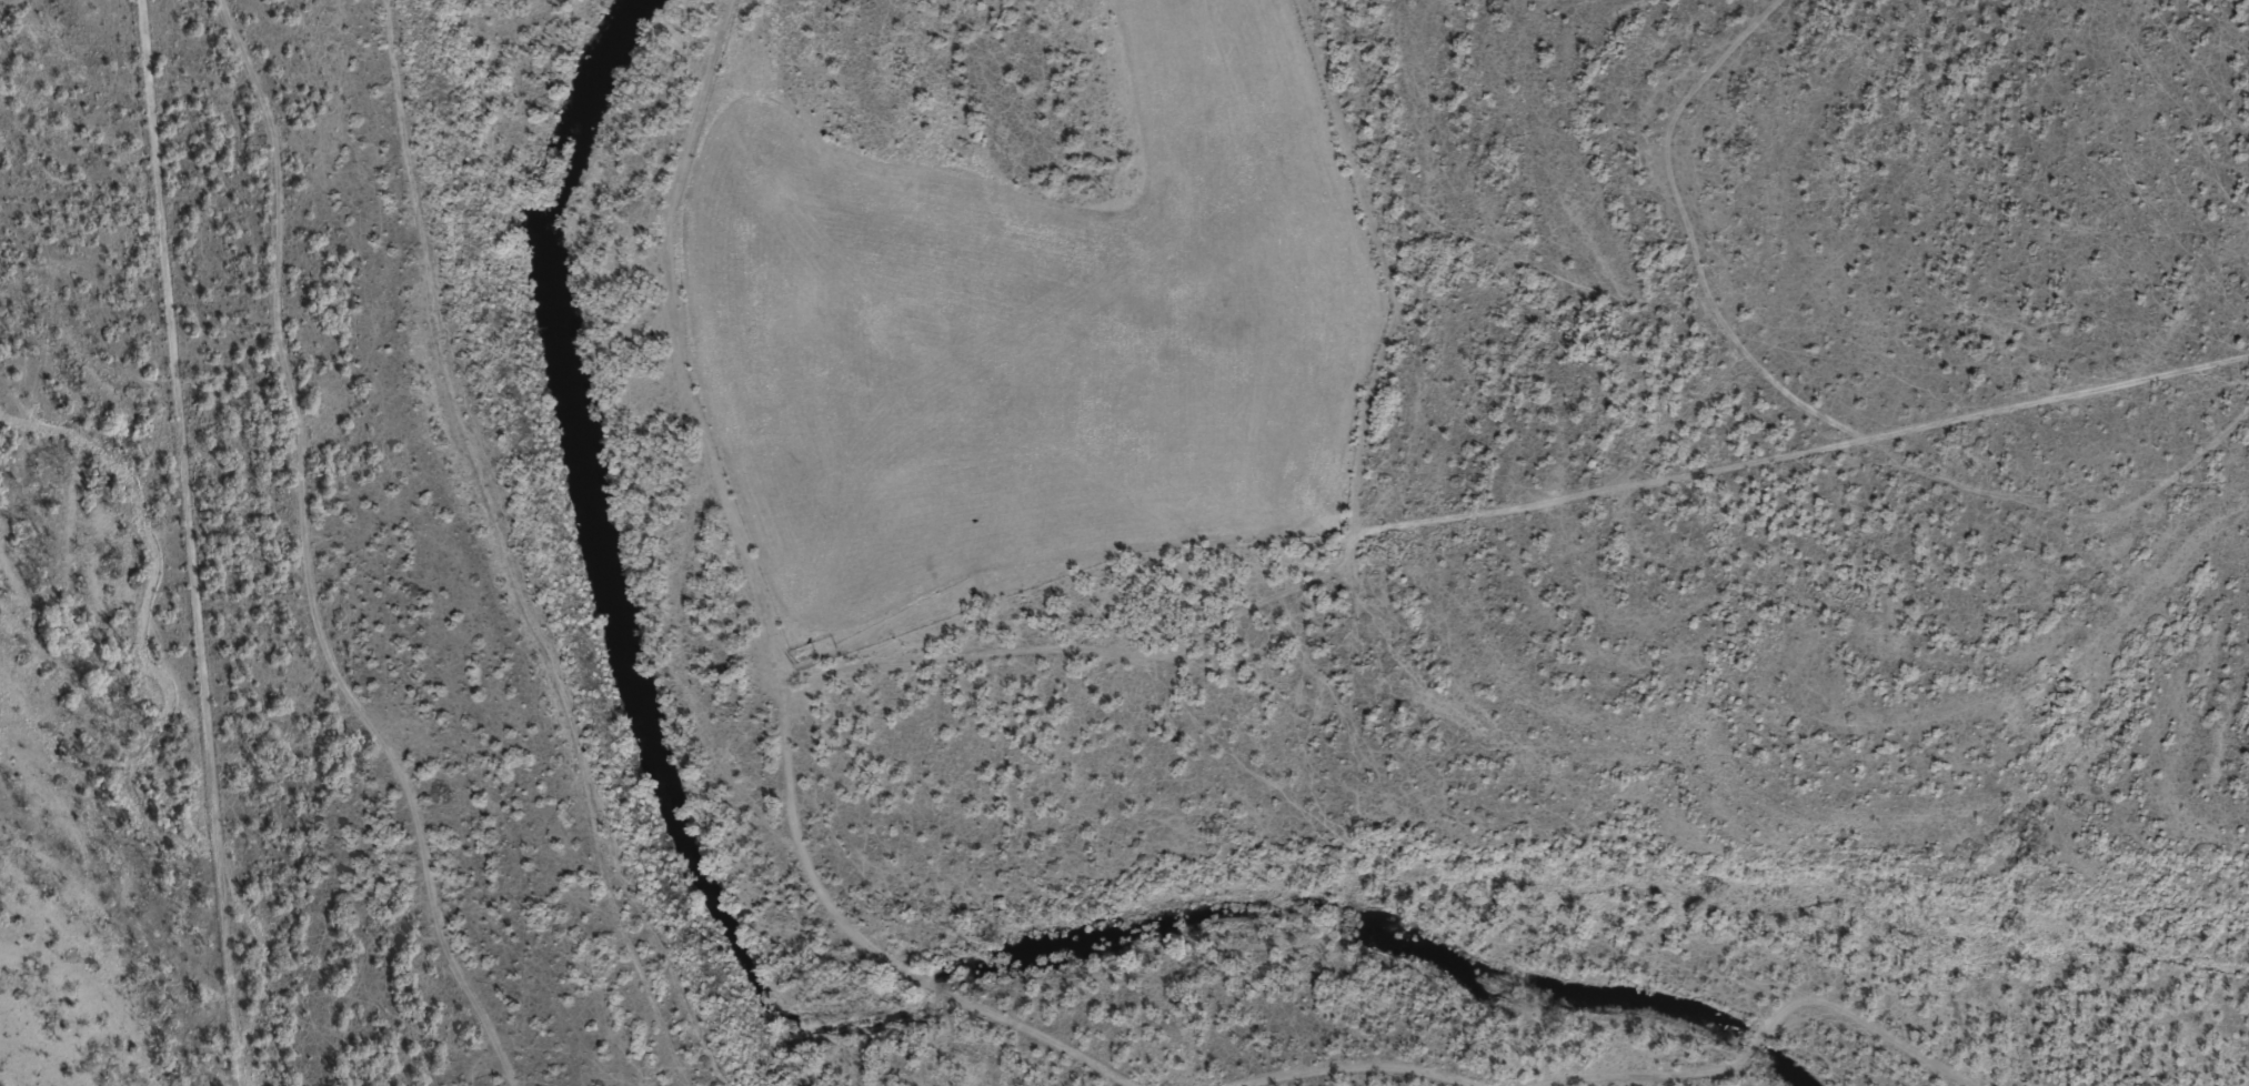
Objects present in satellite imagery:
road: (317, 556)
road: (747, 606)
road: (1599, 1078)

